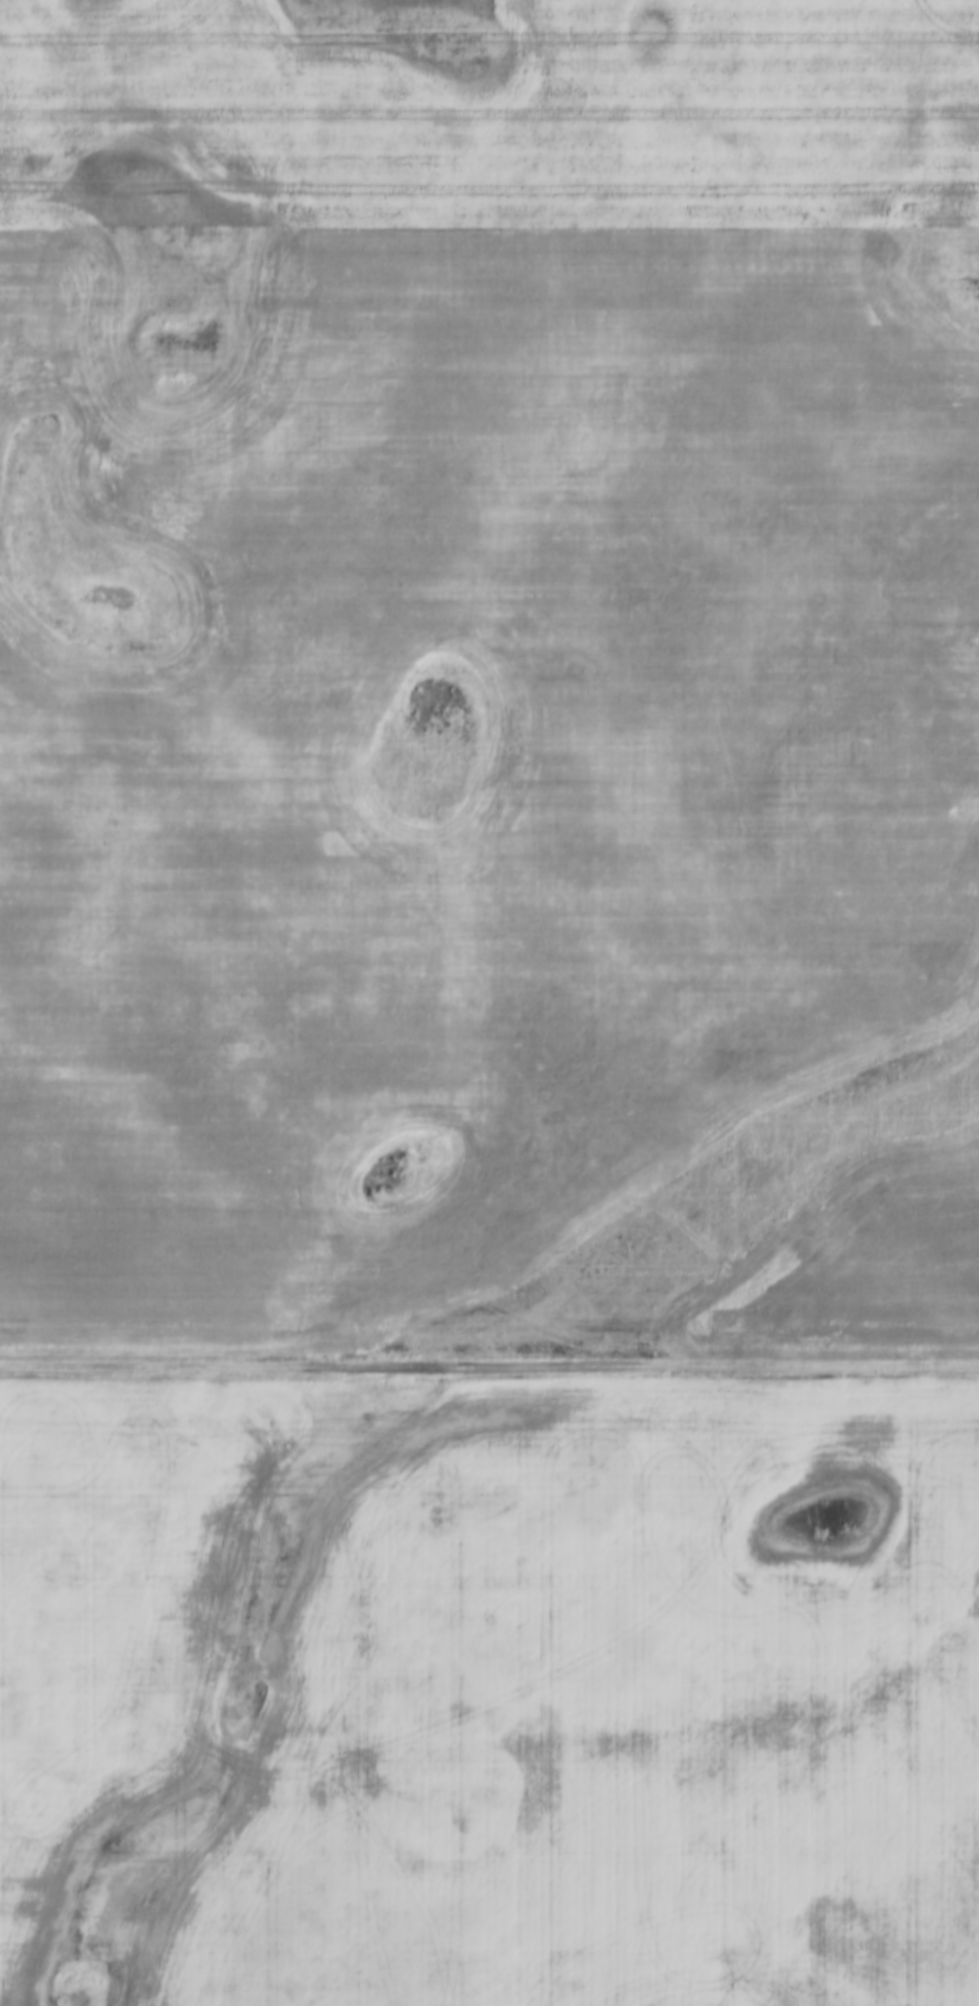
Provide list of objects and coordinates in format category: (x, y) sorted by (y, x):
road: (489, 1367)

